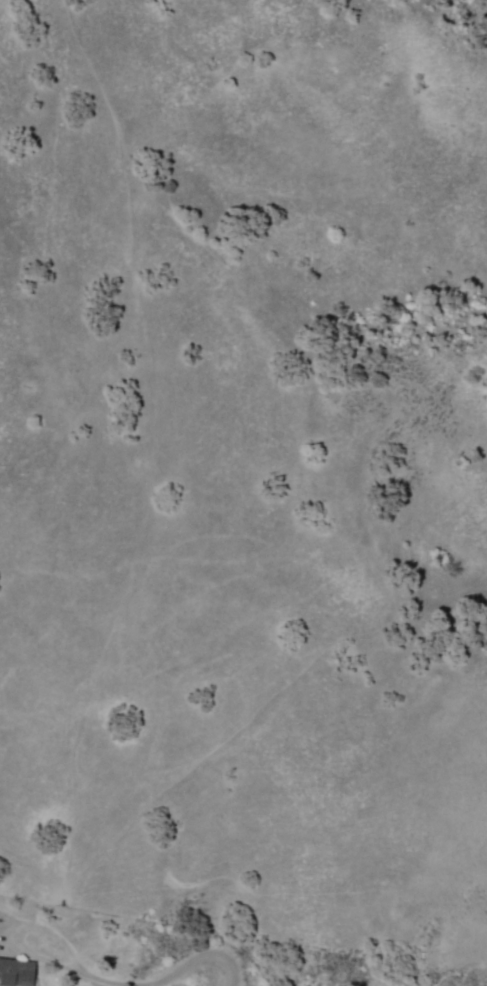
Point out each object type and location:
building: (17, 972)
road: (171, 972)

